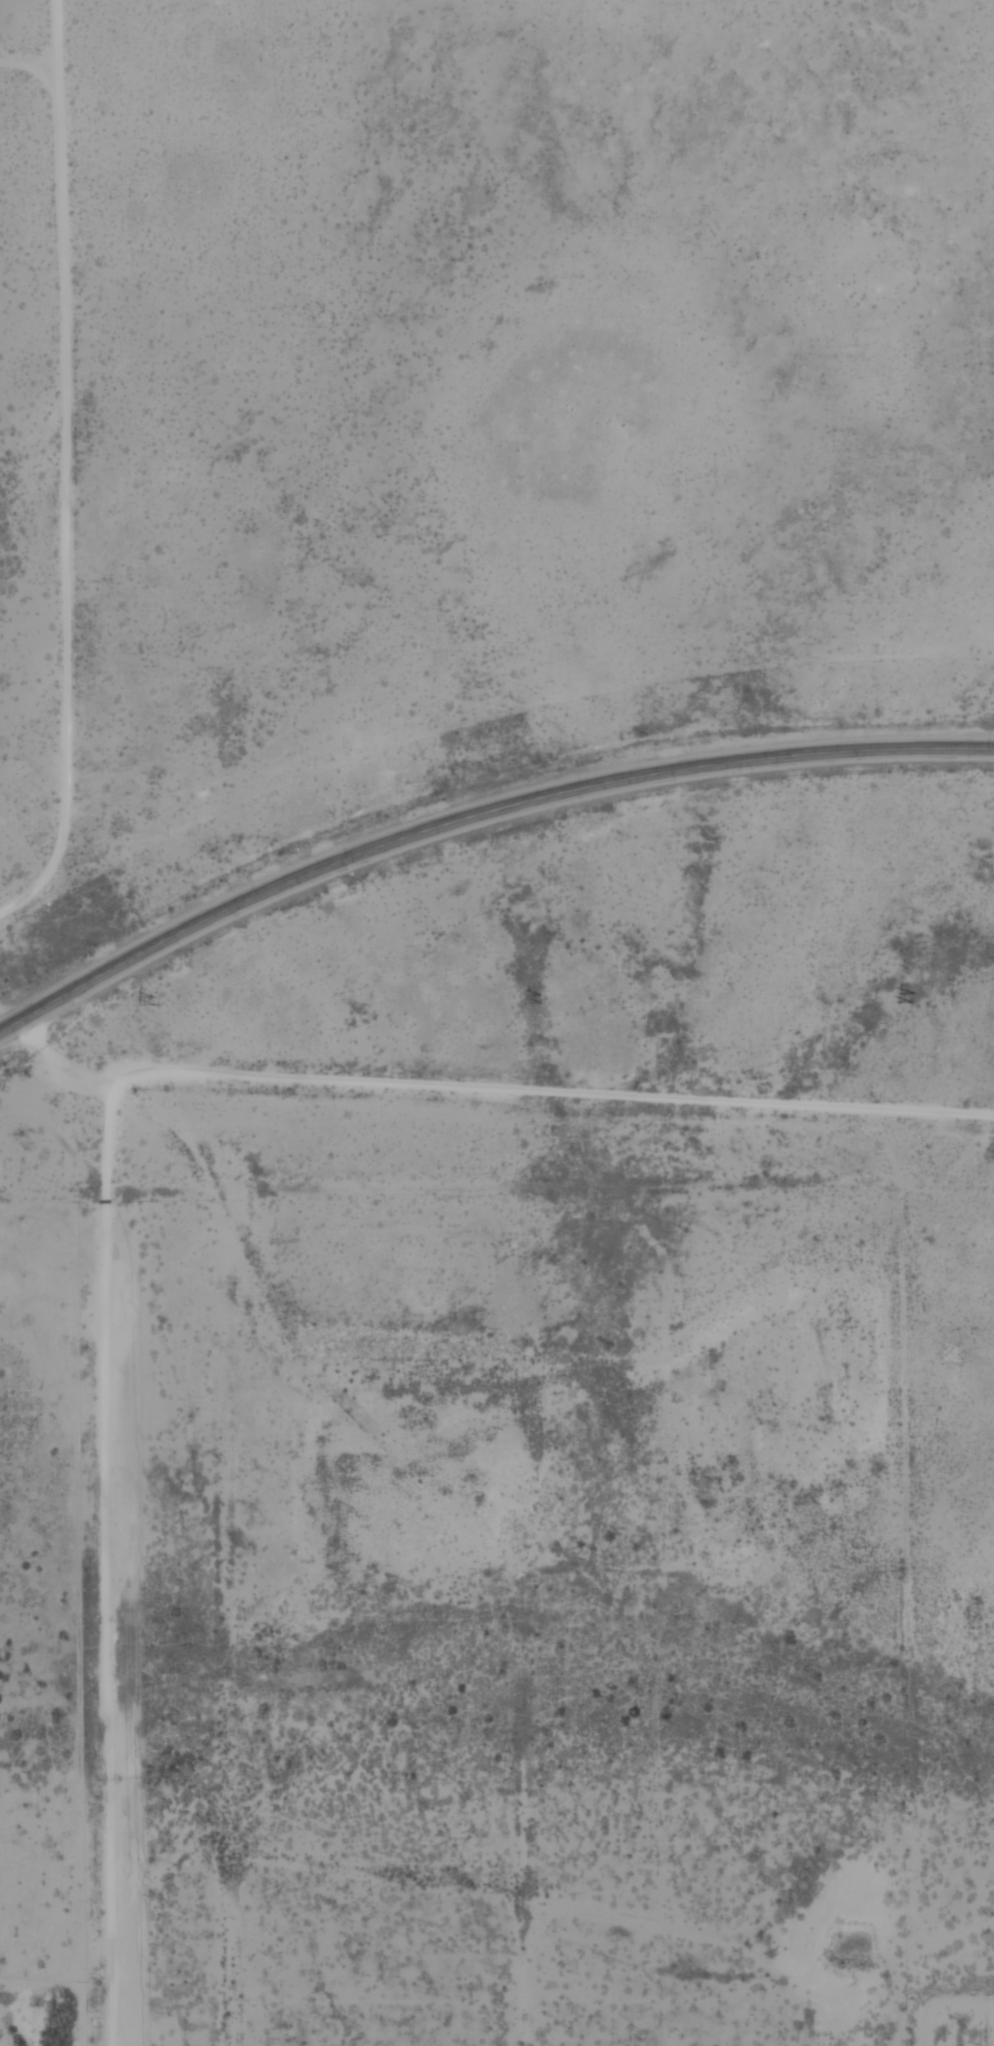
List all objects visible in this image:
road: (66, 468)
road: (476, 814)
road: (104, 1119)
road: (904, 1547)

